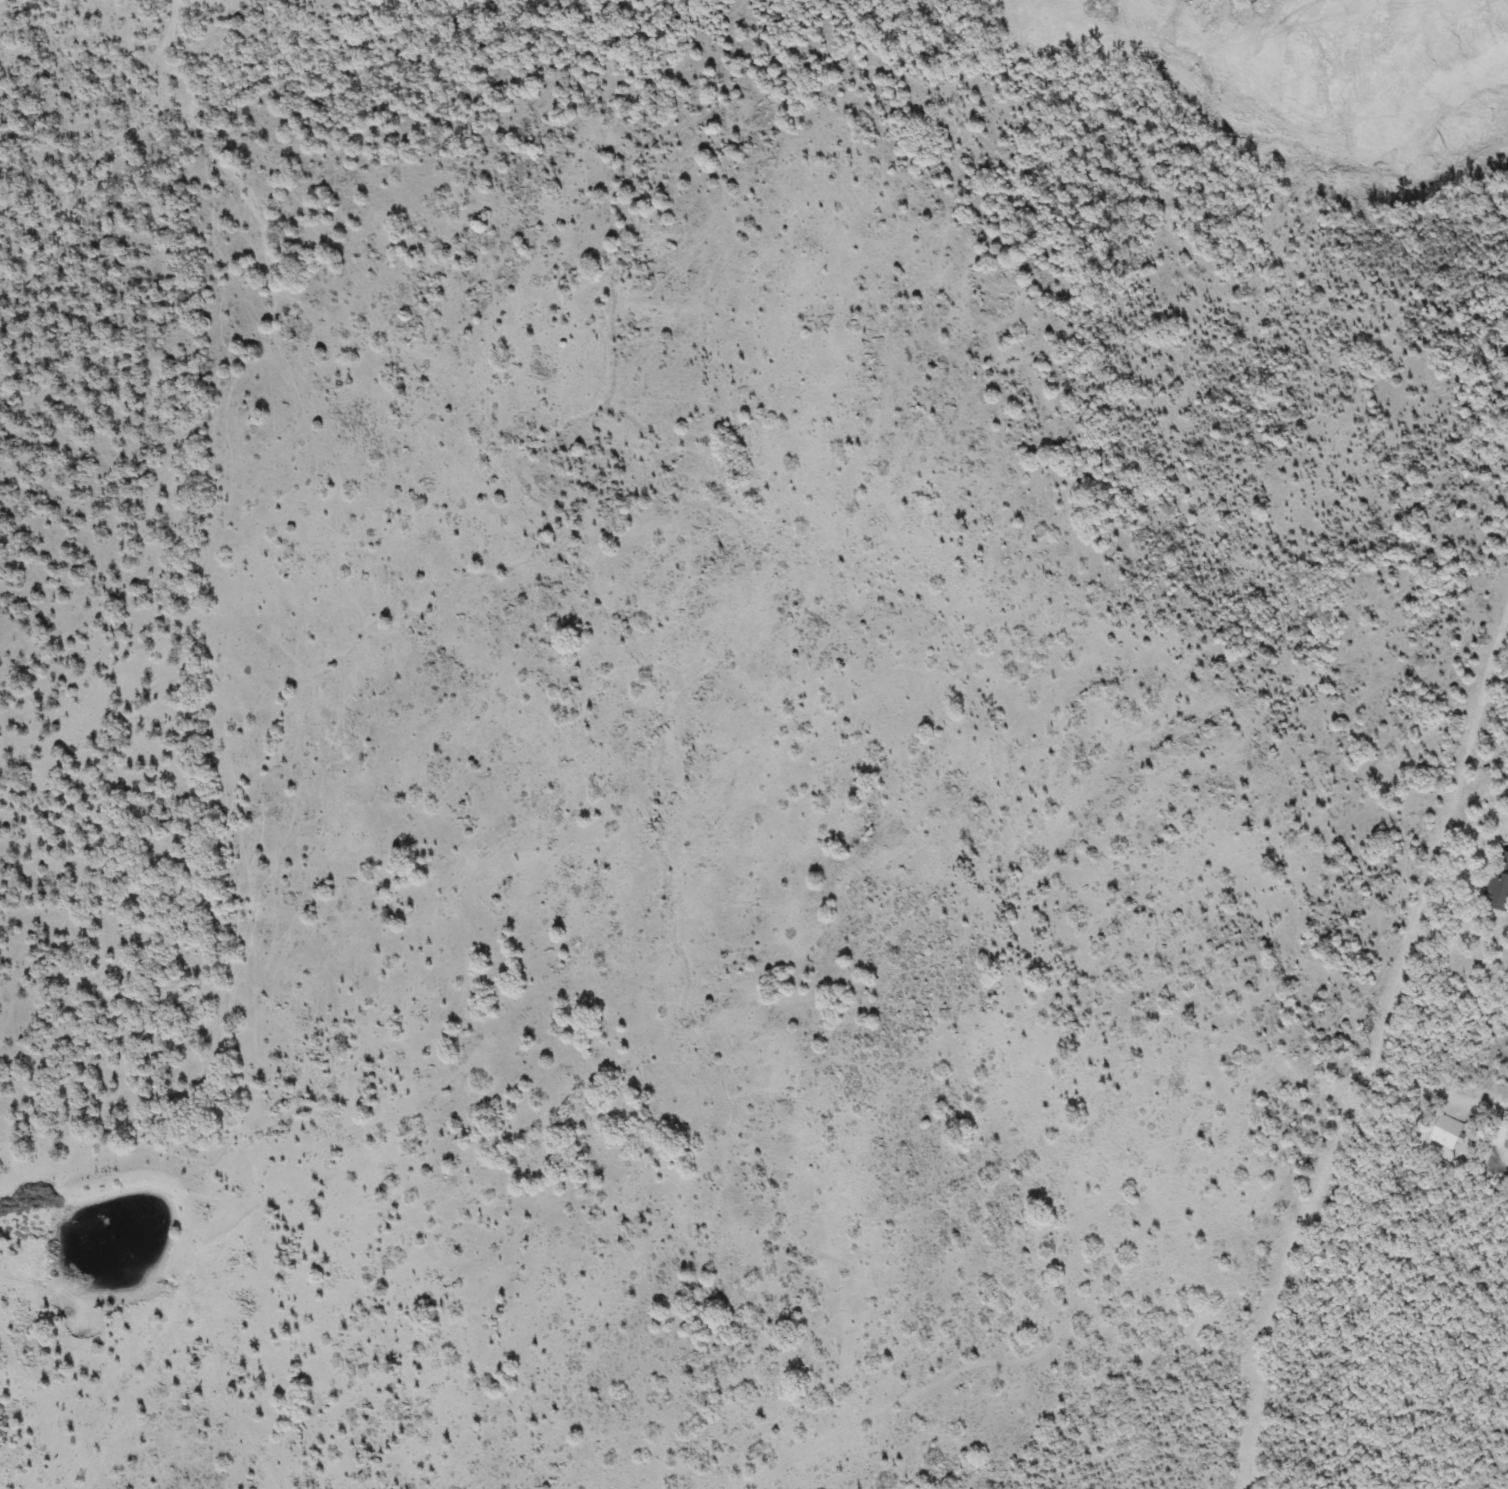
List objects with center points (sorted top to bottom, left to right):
building: (1499, 884)
building: (1503, 1136)
road: (1502, 1171)

